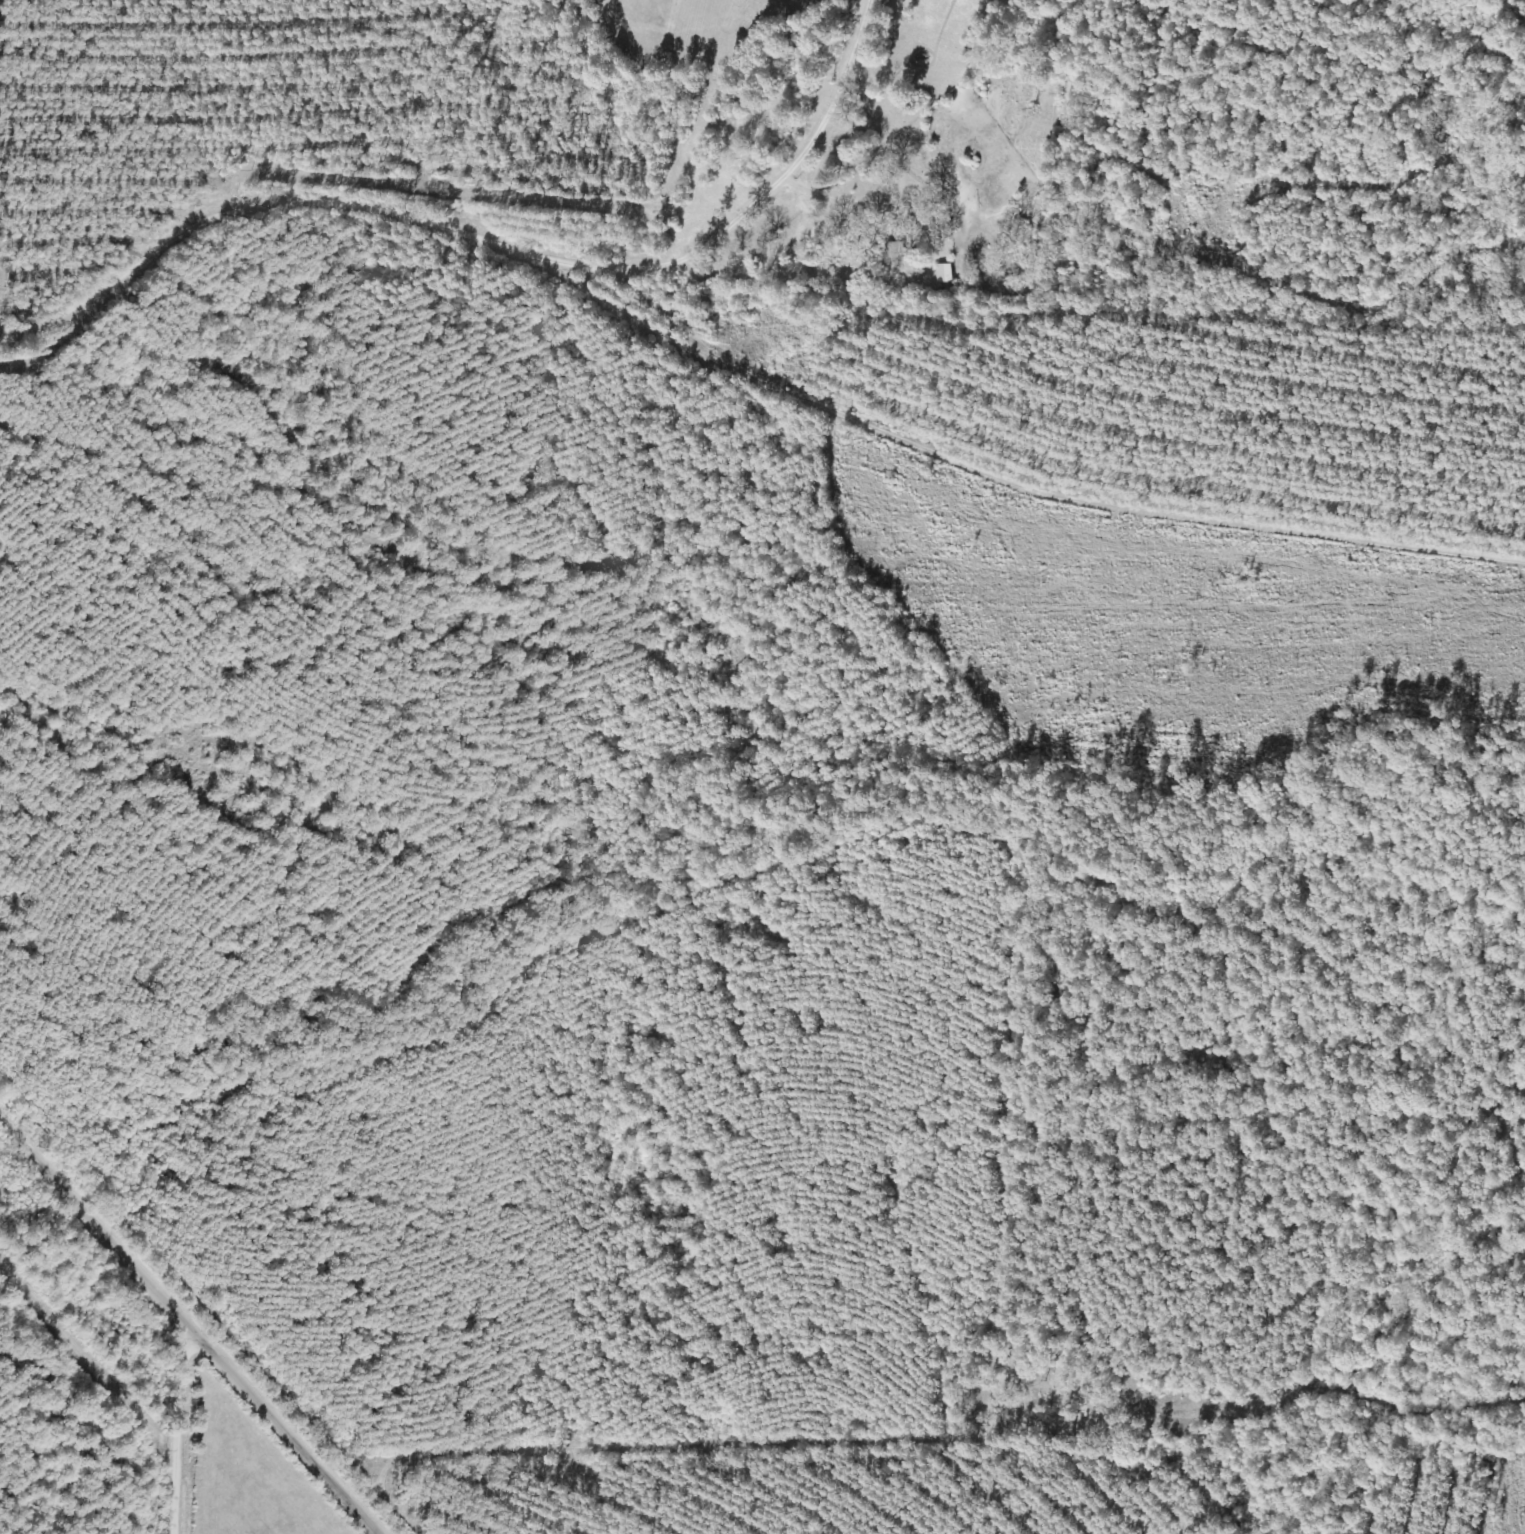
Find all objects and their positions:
building: (896, 250)
road: (523, 253)
road: (337, 258)
building: (943, 274)
road: (660, 319)
road: (168, 541)
road: (186, 1322)
road: (188, 1434)

